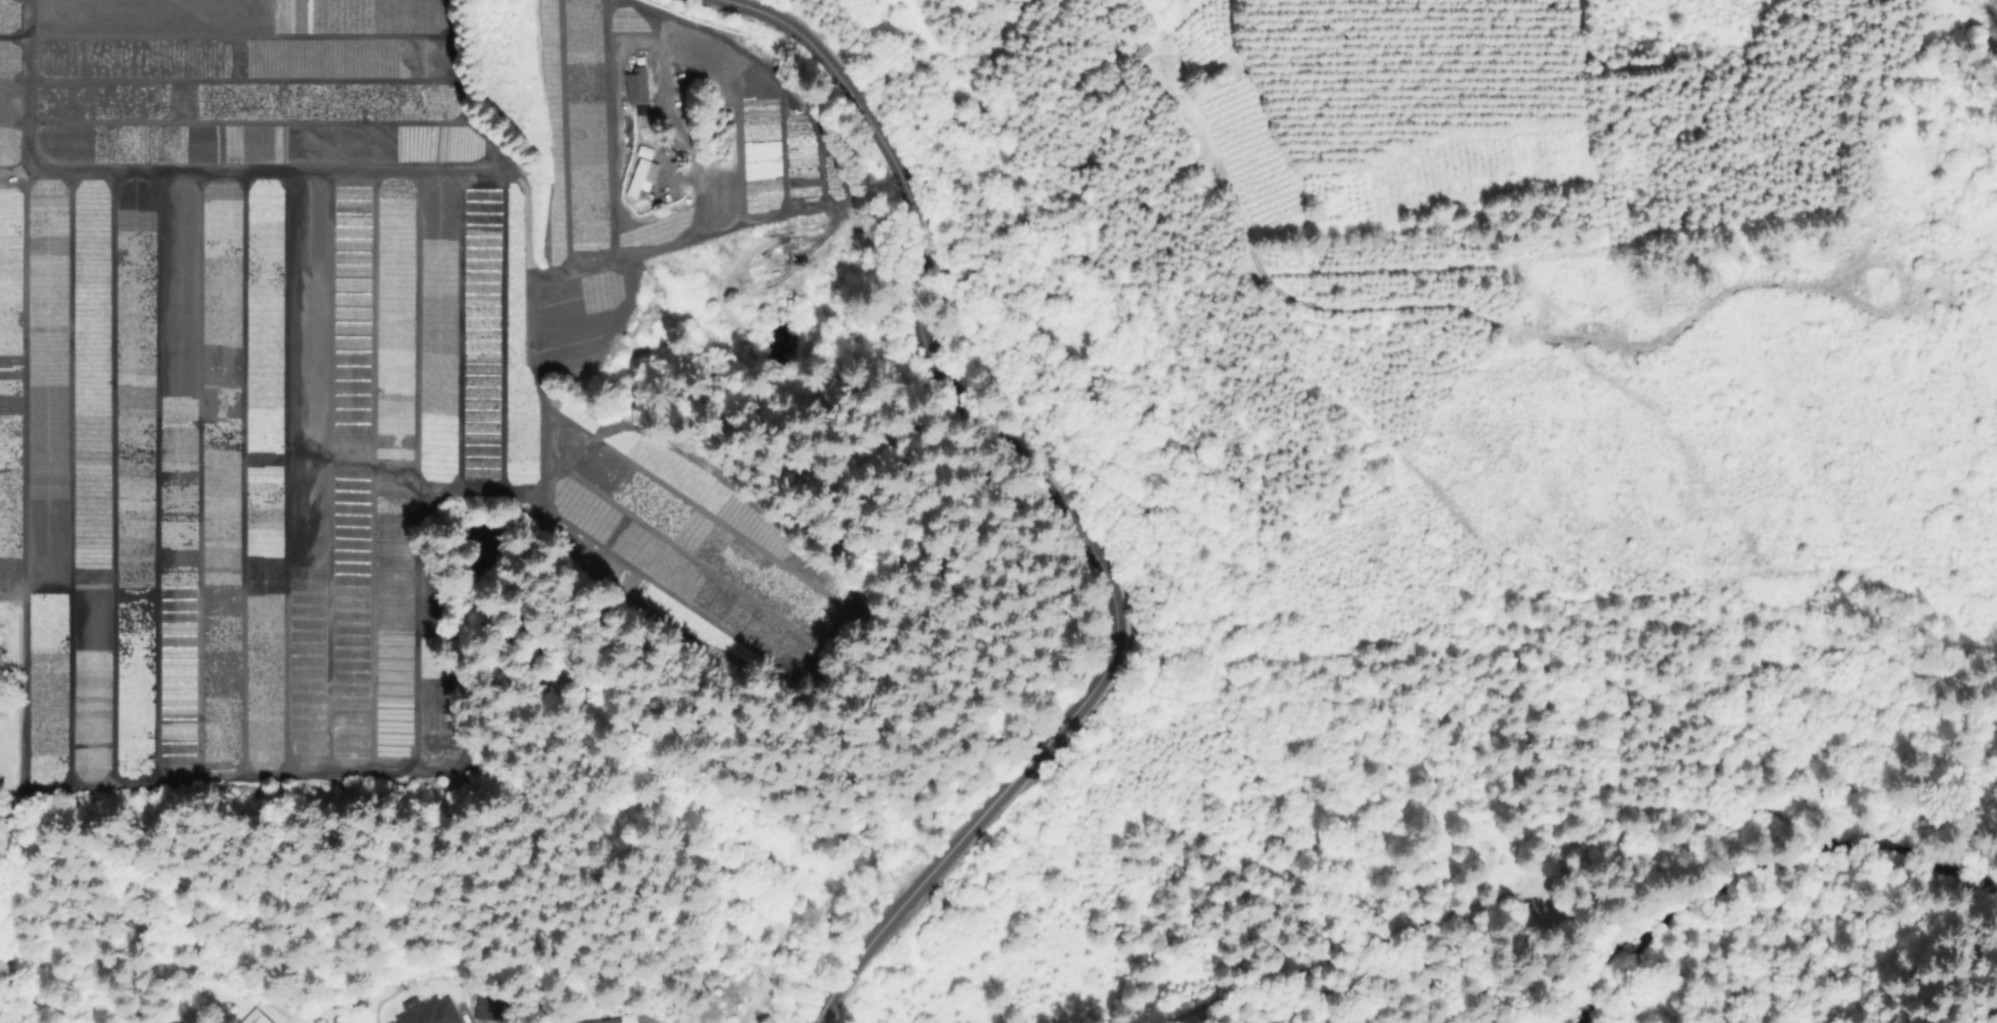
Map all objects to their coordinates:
building: (637, 92)
road: (619, 99)
building: (641, 176)
road: (1058, 505)
road: (1987, 743)
road: (1558, 877)
building: (1552, 964)
building: (498, 1006)
building: (431, 1012)
building: (265, 1020)
building: (603, 1021)

